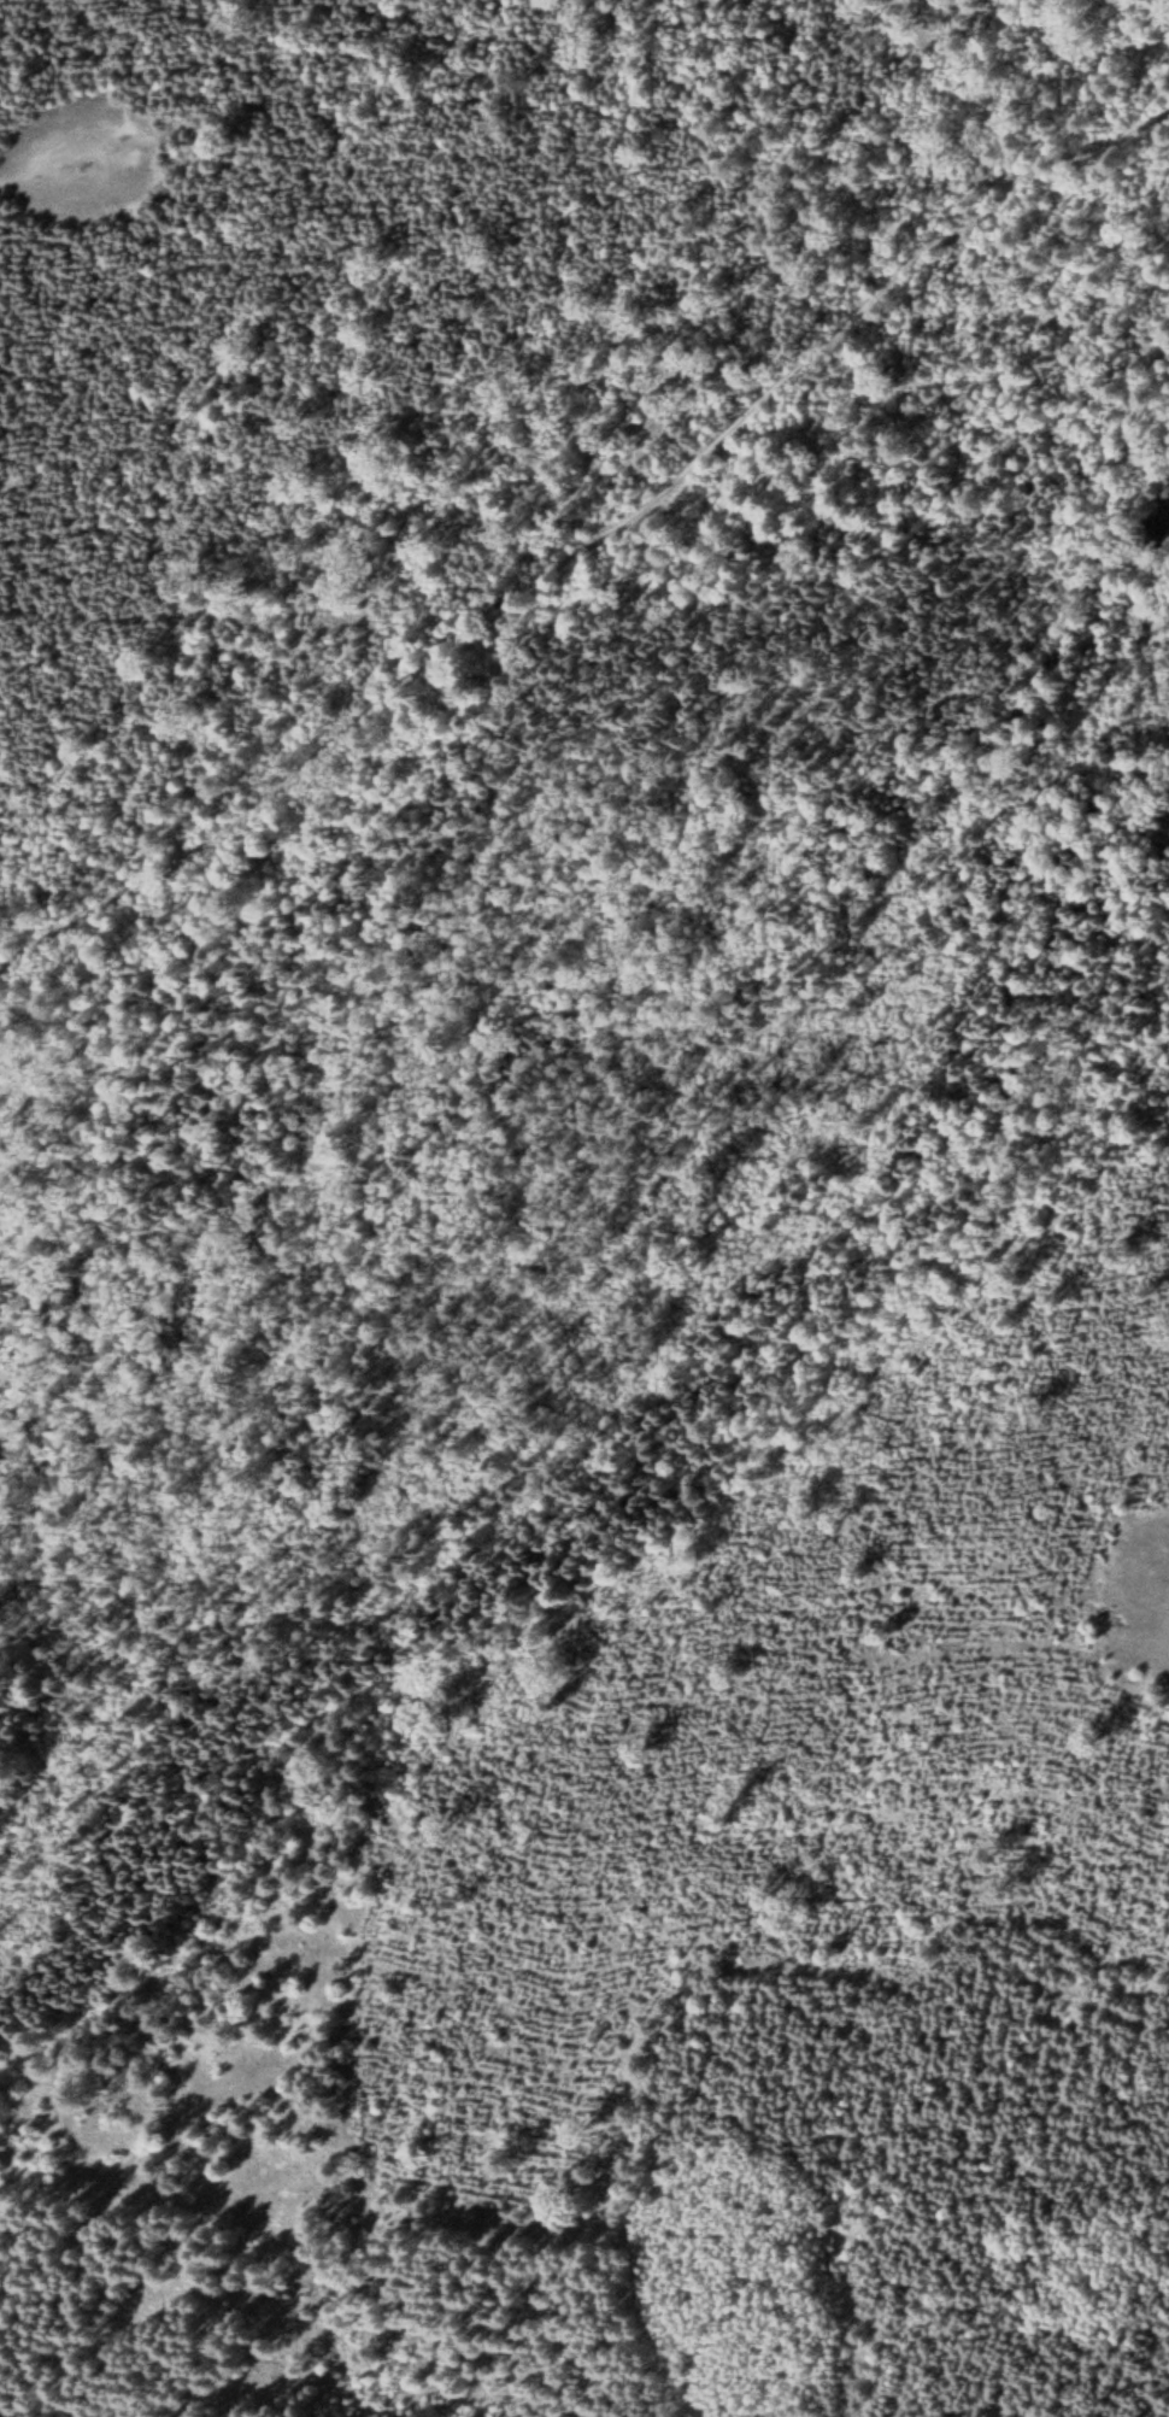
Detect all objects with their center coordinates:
road: (22, 174)
road: (594, 544)

